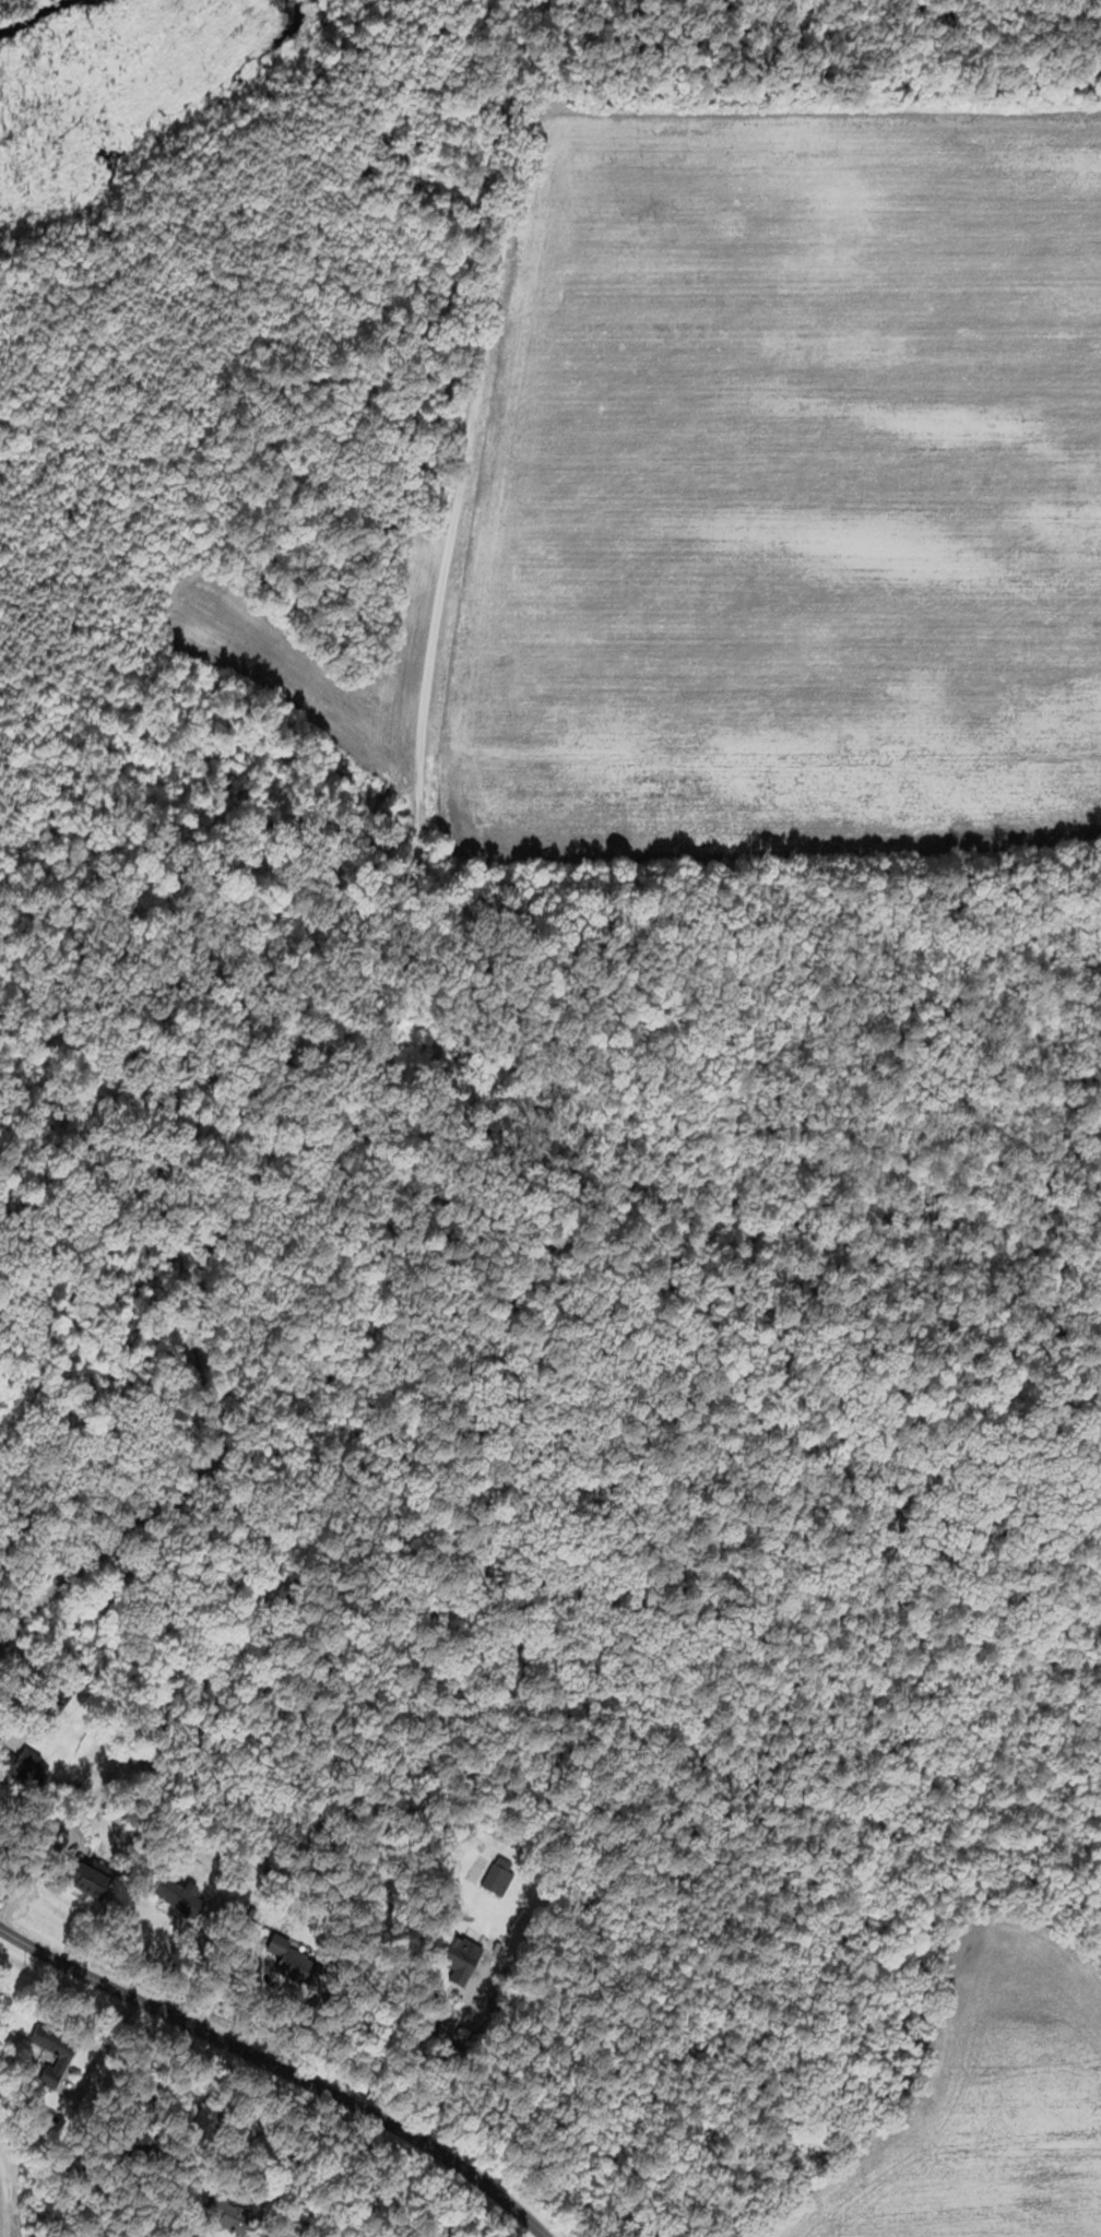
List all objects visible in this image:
road: (412, 908)
building: (19, 1770)
building: (166, 1892)
building: (449, 1956)
building: (42, 2046)
road: (421, 2048)
road: (277, 2067)

